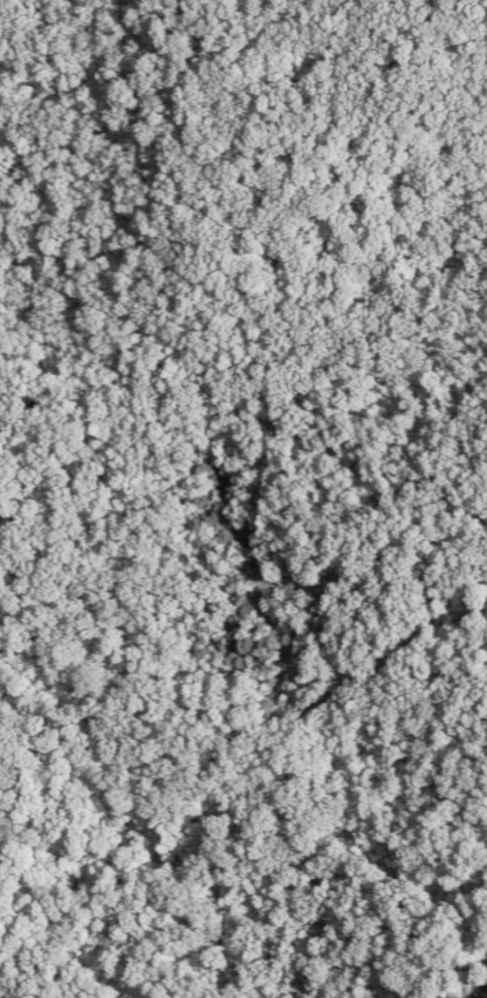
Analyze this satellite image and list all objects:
road: (465, 895)
building: (485, 995)

